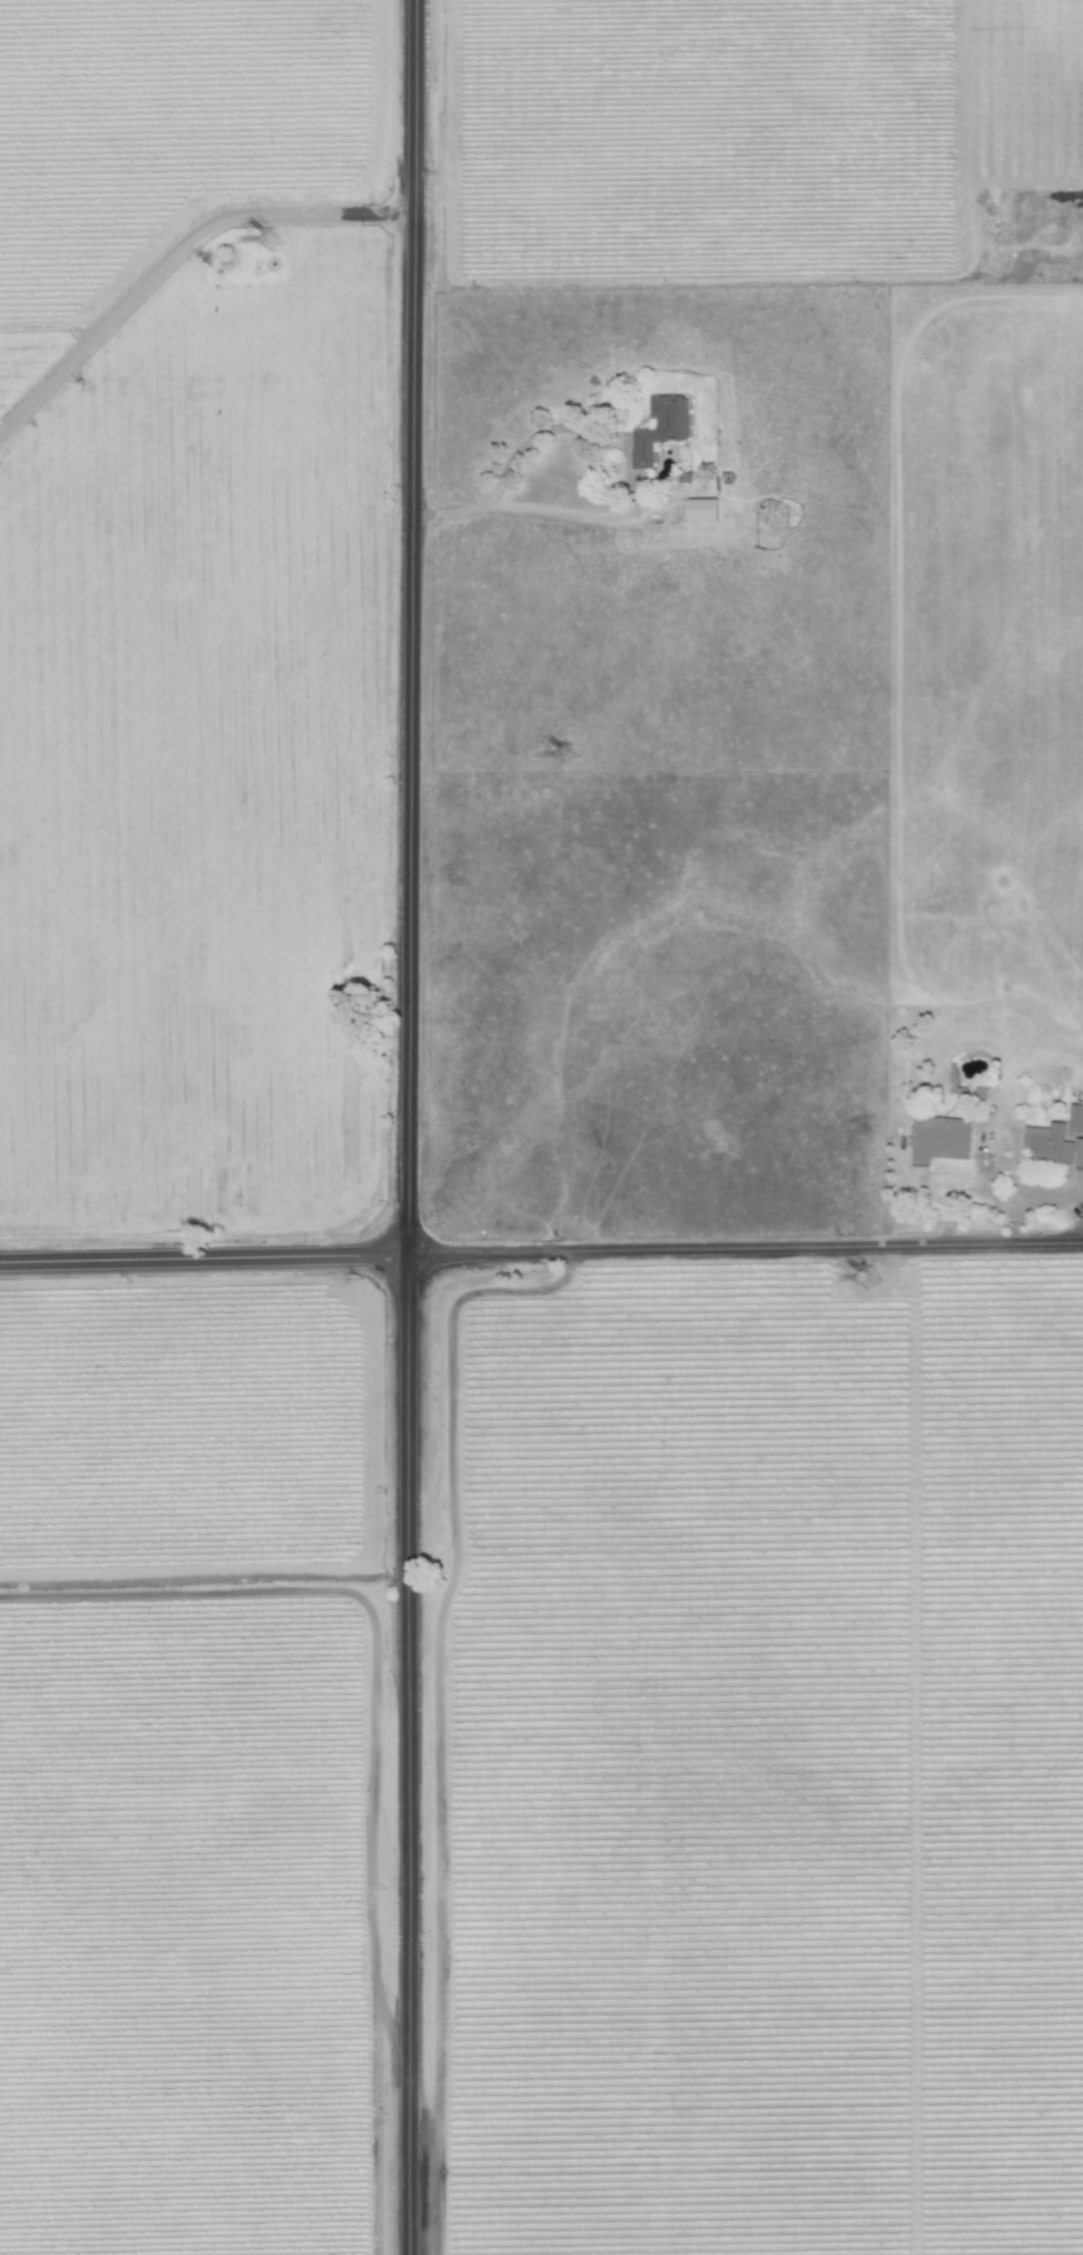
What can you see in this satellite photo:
road: (958, 91)
road: (177, 249)
power tower: (273, 256)
building: (663, 427)
road: (626, 466)
road: (485, 501)
road: (519, 509)
building: (703, 510)
power tower: (557, 755)
road: (1013, 1106)
road: (414, 1126)
road: (992, 1192)
road: (1048, 1194)
road: (748, 1247)
road: (207, 1259)
power tower: (880, 1280)
road: (377, 1739)

